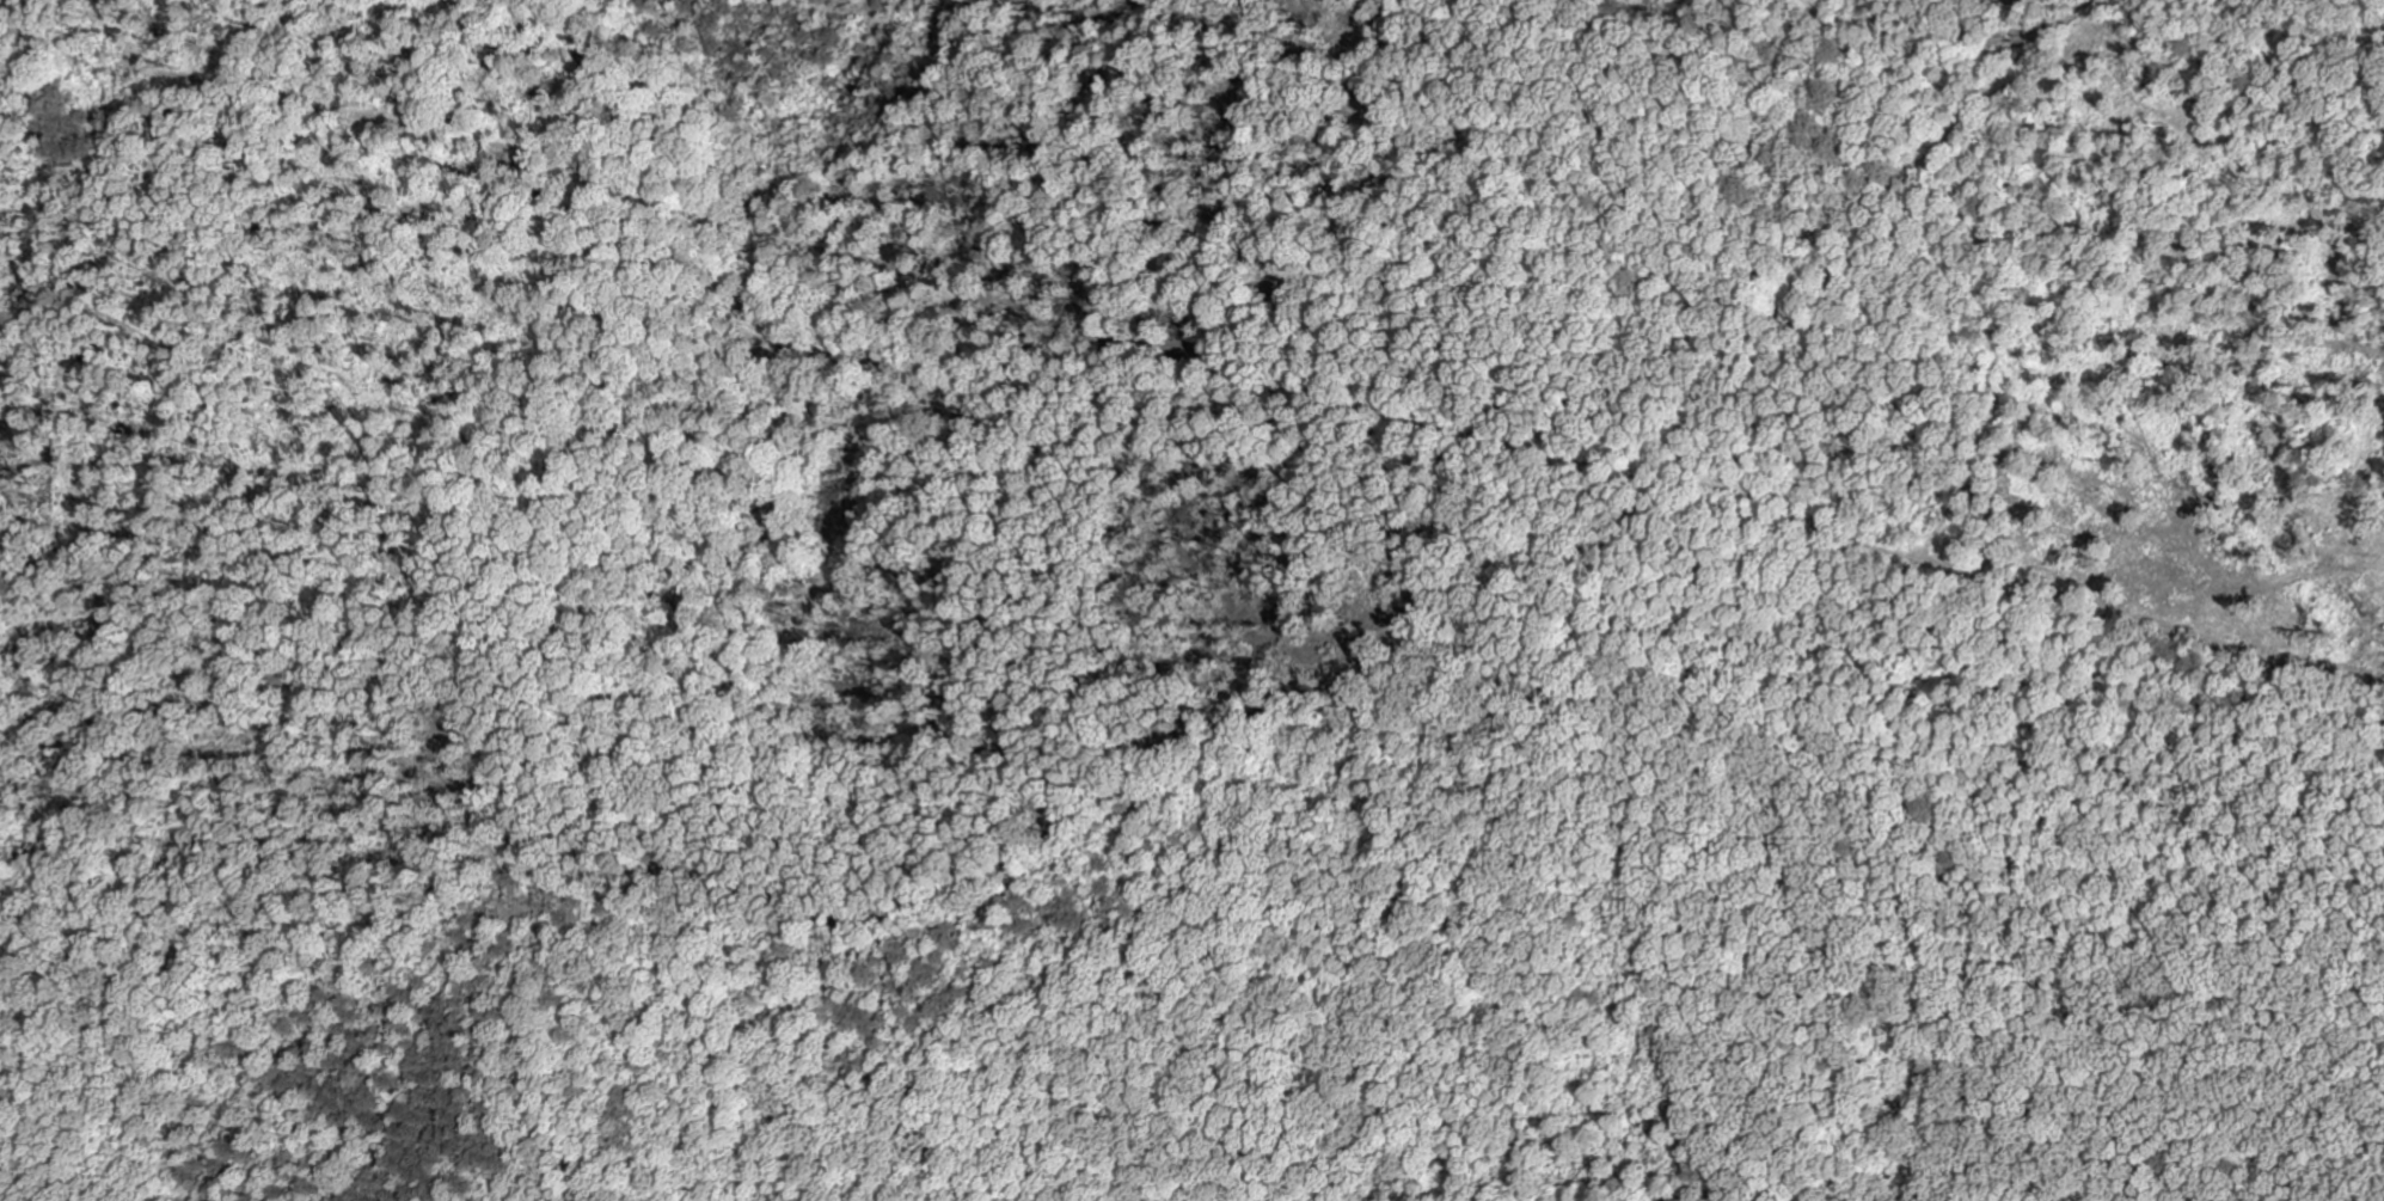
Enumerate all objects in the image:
road: (2245, 88)

